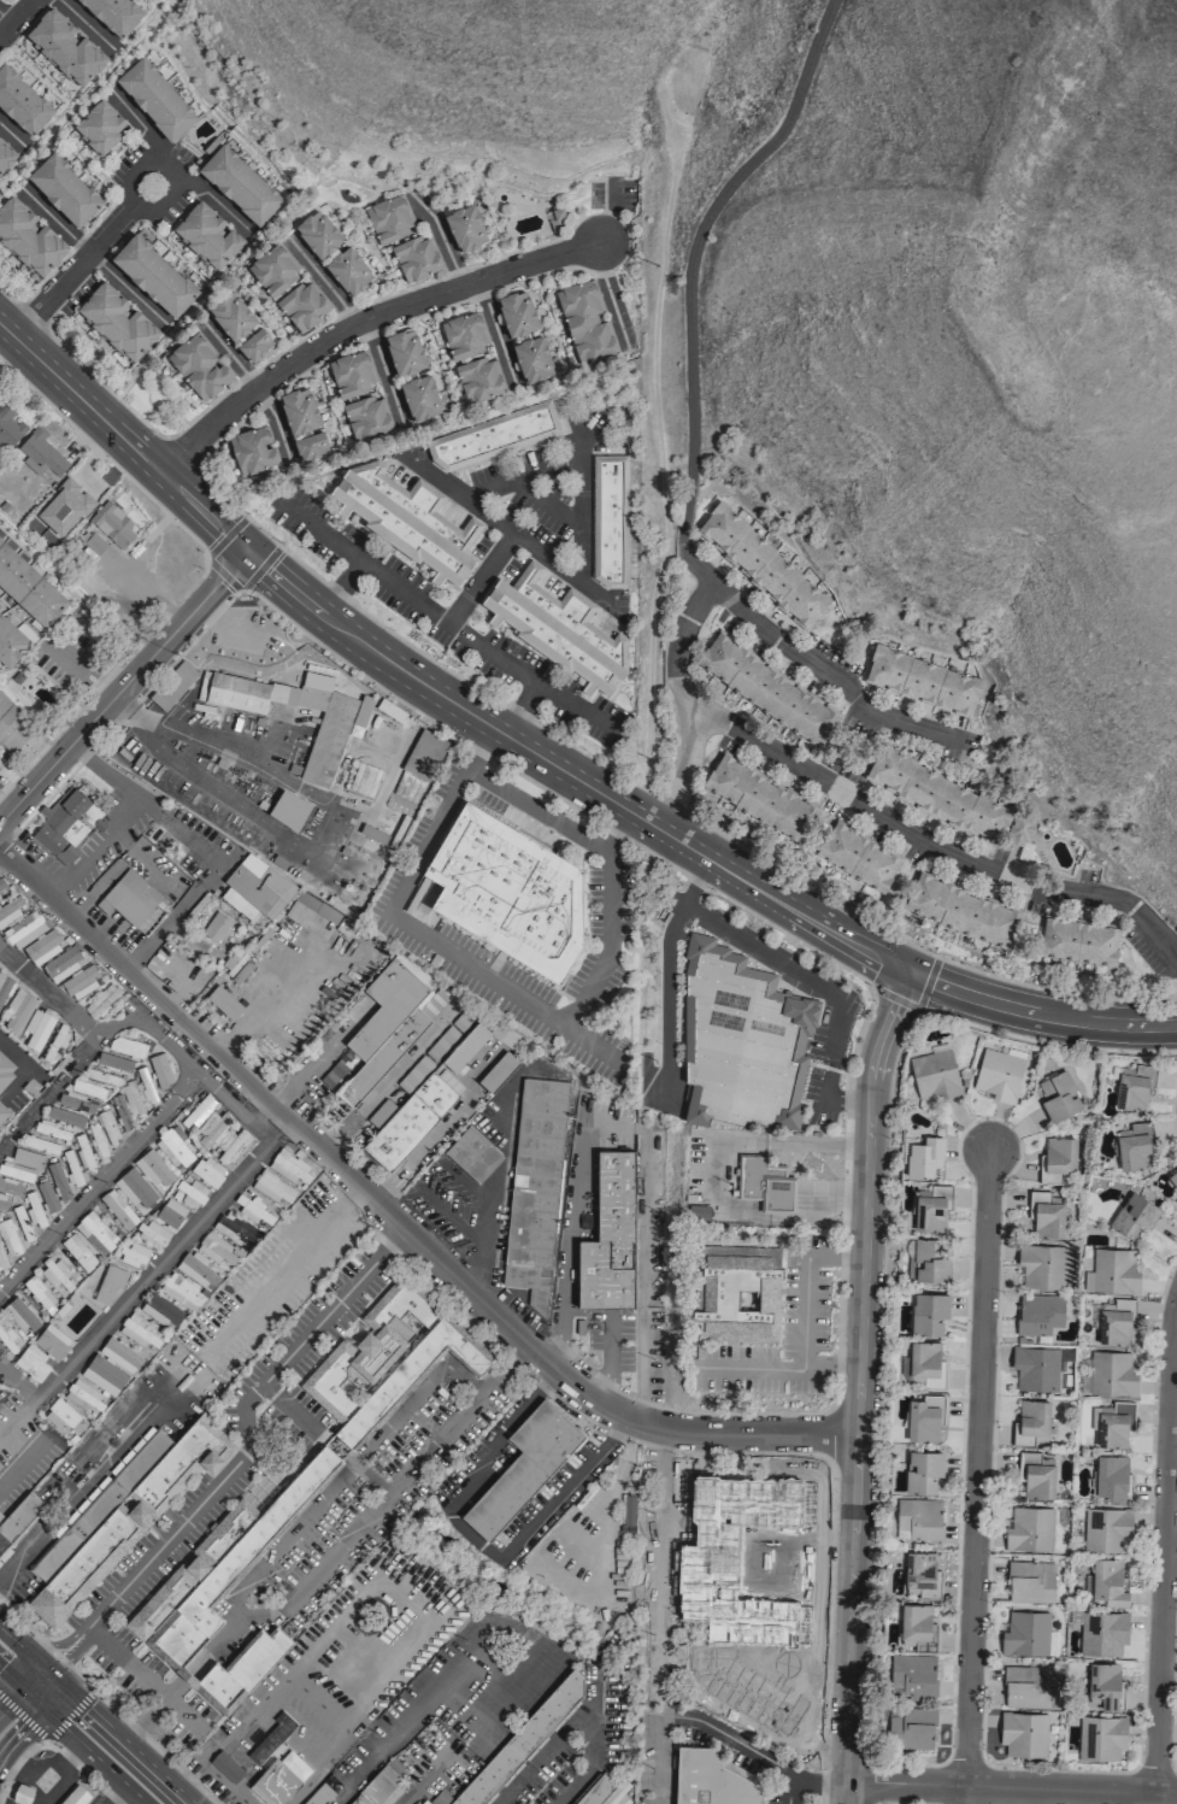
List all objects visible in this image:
building: (113, 14)
road: (14, 17)
building: (64, 48)
building: (157, 99)
building: (20, 102)
building: (100, 128)
building: (5, 155)
building: (240, 184)
building: (65, 189)
building: (390, 219)
building: (466, 228)
building: (319, 234)
road: (443, 234)
building: (208, 236)
building: (29, 239)
road: (93, 249)
road: (92, 254)
building: (417, 258)
road: (689, 258)
building: (275, 269)
building: (349, 271)
building: (154, 275)
road: (323, 277)
road: (612, 292)
building: (304, 305)
building: (518, 313)
building: (233, 317)
road: (358, 321)
building: (118, 322)
building: (585, 324)
road: (495, 334)
building: (465, 335)
building: (257, 345)
building: (406, 352)
building: (534, 360)
building: (200, 368)
road: (383, 372)
building: (353, 374)
building: (481, 380)
road: (259, 383)
road: (78, 398)
building: (422, 399)
building: (300, 411)
building: (367, 417)
building: (8, 428)
building: (494, 436)
building: (312, 446)
building: (252, 451)
building: (40, 453)
road: (534, 471)
road: (579, 488)
building: (63, 507)
road: (200, 512)
building: (407, 518)
building: (610, 519)
building: (114, 524)
road: (501, 524)
road: (322, 533)
building: (93, 542)
traffic signals: (243, 552)
road: (578, 553)
building: (763, 566)
building: (29, 587)
road: (141, 590)
road: (447, 621)
building: (559, 628)
building: (11, 642)
road: (65, 656)
road: (818, 665)
road: (81, 669)
building: (923, 681)
building: (172, 684)
road: (122, 687)
building: (767, 691)
road: (445, 699)
road: (679, 701)
road: (577, 706)
building: (361, 711)
road: (134, 712)
building: (11, 729)
building: (324, 745)
road: (371, 753)
building: (424, 754)
road: (170, 759)
building: (0, 766)
building: (937, 795)
building: (759, 798)
road: (346, 811)
building: (64, 825)
building: (1022, 832)
road: (683, 842)
road: (926, 842)
road: (200, 847)
road: (95, 851)
building: (857, 857)
road: (694, 880)
building: (1, 885)
building: (257, 886)
building: (508, 891)
building: (134, 899)
building: (11, 909)
building: (304, 909)
building: (964, 911)
road: (805, 915)
building: (216, 927)
building: (24, 928)
building: (1077, 941)
building: (41, 947)
building: (61, 963)
traffic signals: (905, 972)
building: (81, 981)
building: (4, 988)
road: (819, 989)
road: (47, 994)
road: (665, 997)
building: (223, 1003)
road: (530, 1007)
building: (18, 1009)
road: (1037, 1015)
building: (392, 1023)
building: (36, 1028)
building: (741, 1042)
building: (126, 1046)
road: (877, 1053)
road: (19, 1057)
building: (113, 1062)
building: (160, 1069)
building: (6, 1070)
building: (335, 1070)
building: (499, 1071)
building: (935, 1074)
building: (999, 1075)
building: (101, 1076)
road: (386, 1079)
road: (189, 1080)
building: (145, 1085)
building: (431, 1087)
building: (88, 1088)
building: (1131, 1091)
building: (1058, 1095)
road: (225, 1097)
building: (130, 1098)
building: (76, 1101)
building: (2, 1111)
building: (120, 1111)
building: (198, 1112)
building: (604, 1113)
building: (65, 1117)
building: (107, 1127)
road: (442, 1128)
building: (213, 1129)
building: (49, 1130)
building: (95, 1140)
building: (41, 1145)
building: (231, 1146)
building: (1134, 1146)
building: (173, 1147)
building: (82, 1151)
building: (472, 1154)
building: (925, 1157)
building: (1057, 1158)
building: (288, 1167)
building: (153, 1168)
building: (71, 1169)
road: (867, 1169)
building: (206, 1170)
building: (16, 1171)
road: (717, 1177)
building: (1173, 1179)
building: (58, 1180)
building: (765, 1185)
building: (10, 1187)
building: (272, 1187)
building: (135, 1188)
building: (535, 1188)
building: (192, 1192)
building: (46, 1195)
building: (31, 1207)
building: (252, 1209)
building: (932, 1209)
building: (117, 1210)
building: (170, 1212)
building: (1046, 1215)
building: (1134, 1216)
road: (395, 1220)
building: (19, 1224)
road: (865, 1228)
building: (235, 1229)
building: (95, 1233)
building: (608, 1233)
building: (149, 1234)
building: (7, 1238)
building: (217, 1248)
building: (77, 1252)
road: (564, 1252)
building: (133, 1253)
building: (1, 1259)
building: (930, 1259)
building: (1041, 1267)
road: (283, 1268)
road: (154, 1269)
building: (1114, 1271)
building: (189, 1281)
road: (805, 1281)
building: (108, 1282)
road: (642, 1282)
building: (735, 1294)
building: (160, 1311)
building: (20, 1312)
building: (929, 1314)
building: (1041, 1315)
road: (323, 1316)
building: (1114, 1322)
building: (140, 1332)
building: (8, 1338)
building: (51, 1341)
building: (119, 1355)
road: (608, 1358)
building: (386, 1361)
building: (30, 1362)
building: (928, 1363)
road: (787, 1364)
building: (1036, 1369)
building: (102, 1374)
building: (1112, 1374)
road: (417, 1395)
building: (83, 1397)
building: (59, 1415)
road: (458, 1416)
building: (923, 1420)
building: (1032, 1421)
building: (1112, 1423)
road: (976, 1465)
building: (524, 1467)
building: (924, 1473)
building: (1036, 1476)
building: (1112, 1477)
building: (628, 1510)
building: (122, 1514)
building: (919, 1518)
building: (18, 1520)
road: (183, 1520)
building: (1029, 1528)
building: (1106, 1529)
road: (853, 1530)
road: (475, 1536)
road: (342, 1538)
road: (1163, 1551)
road: (19, 1553)
road: (386, 1570)
building: (923, 1574)
building: (1029, 1582)
building: (1107, 1582)
building: (223, 1592)
building: (607, 1612)
building: (918, 1624)
building: (1102, 1633)
building: (1028, 1634)
road: (12, 1639)
road: (59, 1644)
road: (73, 1651)
road: (37, 1664)
road: (657, 1667)
building: (914, 1671)
road: (12, 1677)
traffic signals: (52, 1677)
road: (37, 1683)
building: (1025, 1687)
building: (1101, 1687)
traffic signals: (24, 1690)
road: (46, 1691)
road: (33, 1697)
road: (11, 1700)
road: (107, 1704)
traffic signals: (41, 1705)
road: (583, 1715)
building: (911, 1728)
road: (20, 1732)
building: (1023, 1733)
building: (1100, 1737)
building: (271, 1738)
road: (47, 1739)
building: (523, 1739)
road: (118, 1741)
road: (384, 1750)
road: (93, 1753)
building: (398, 1761)
road: (17, 1762)
building: (226, 1767)
road: (82, 1770)
building: (710, 1779)
building: (275, 1782)
road: (1010, 1786)
building: (377, 1787)
building: (602, 1791)
building: (22, 1793)
building: (320, 1794)
road: (963, 1794)
building: (76, 1796)
building: (426, 1802)

